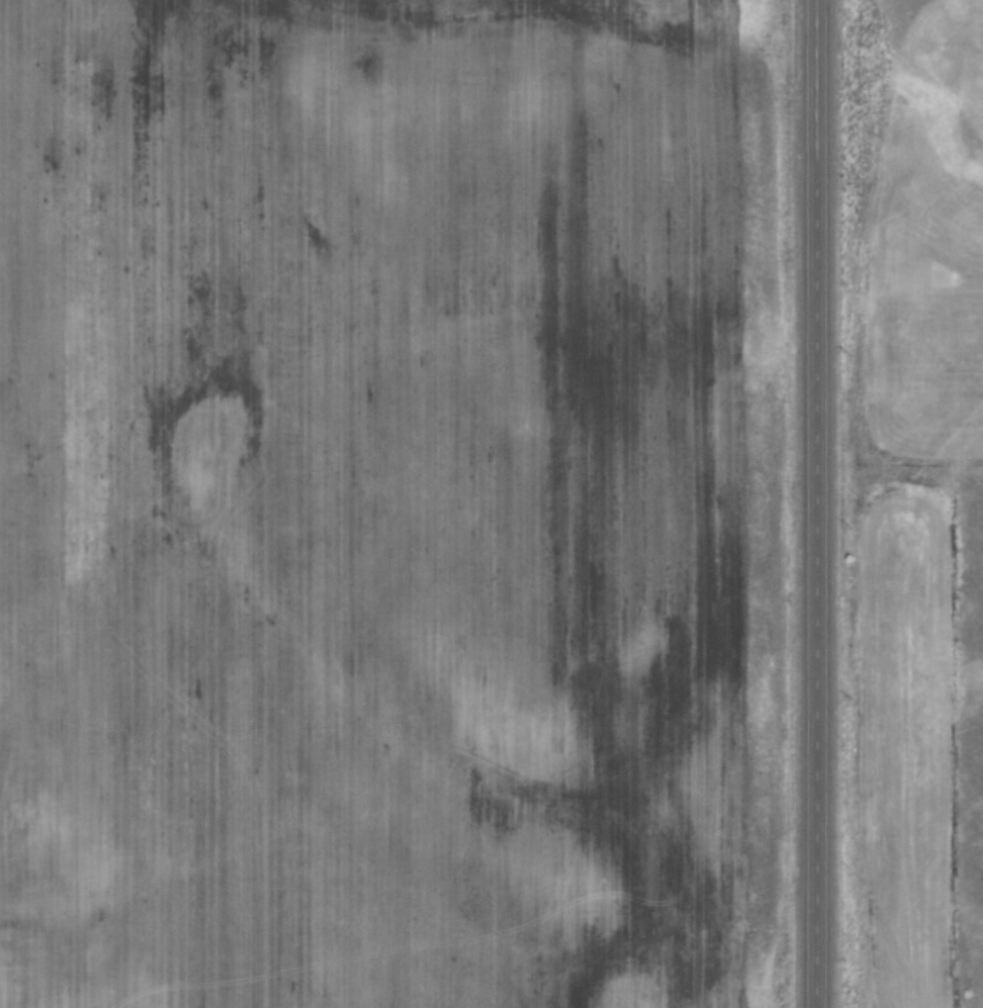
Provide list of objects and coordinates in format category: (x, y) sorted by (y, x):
road: (817, 504)

